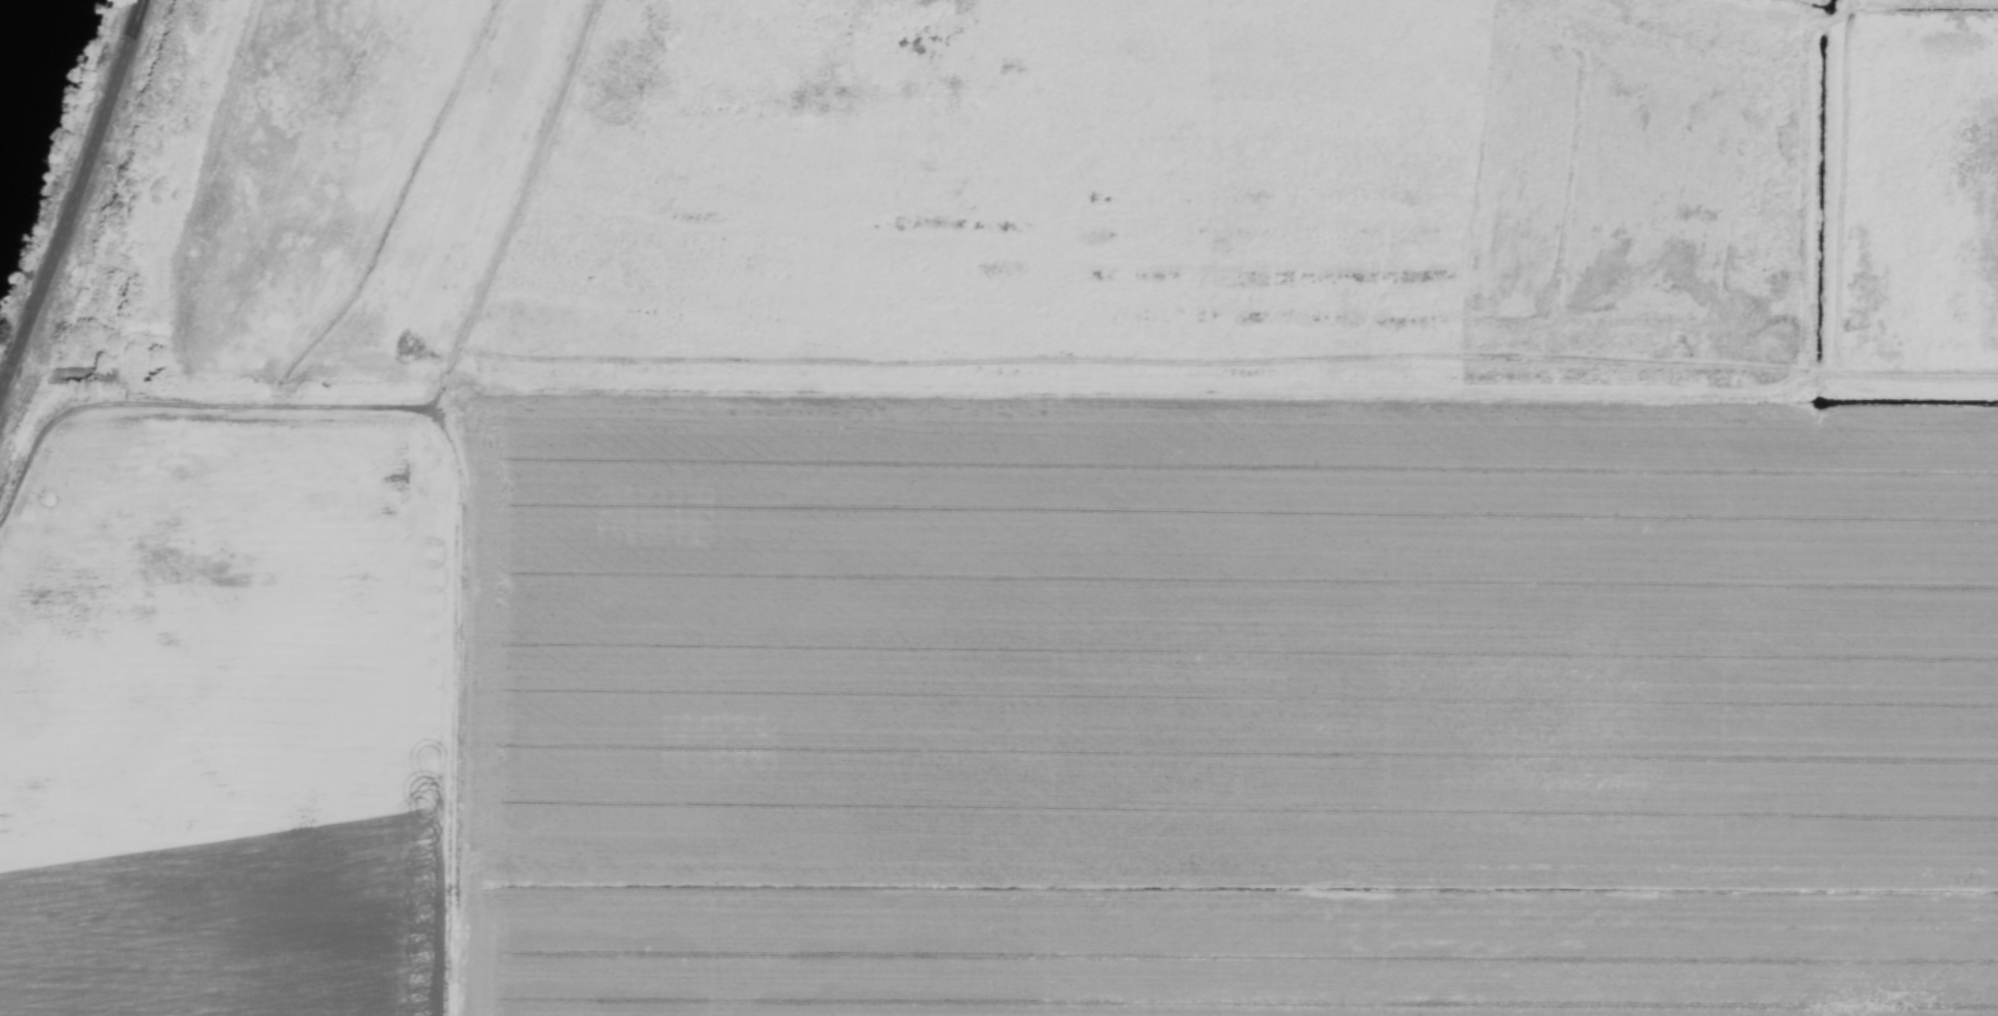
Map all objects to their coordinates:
road: (73, 192)
crop: (964, 615)

